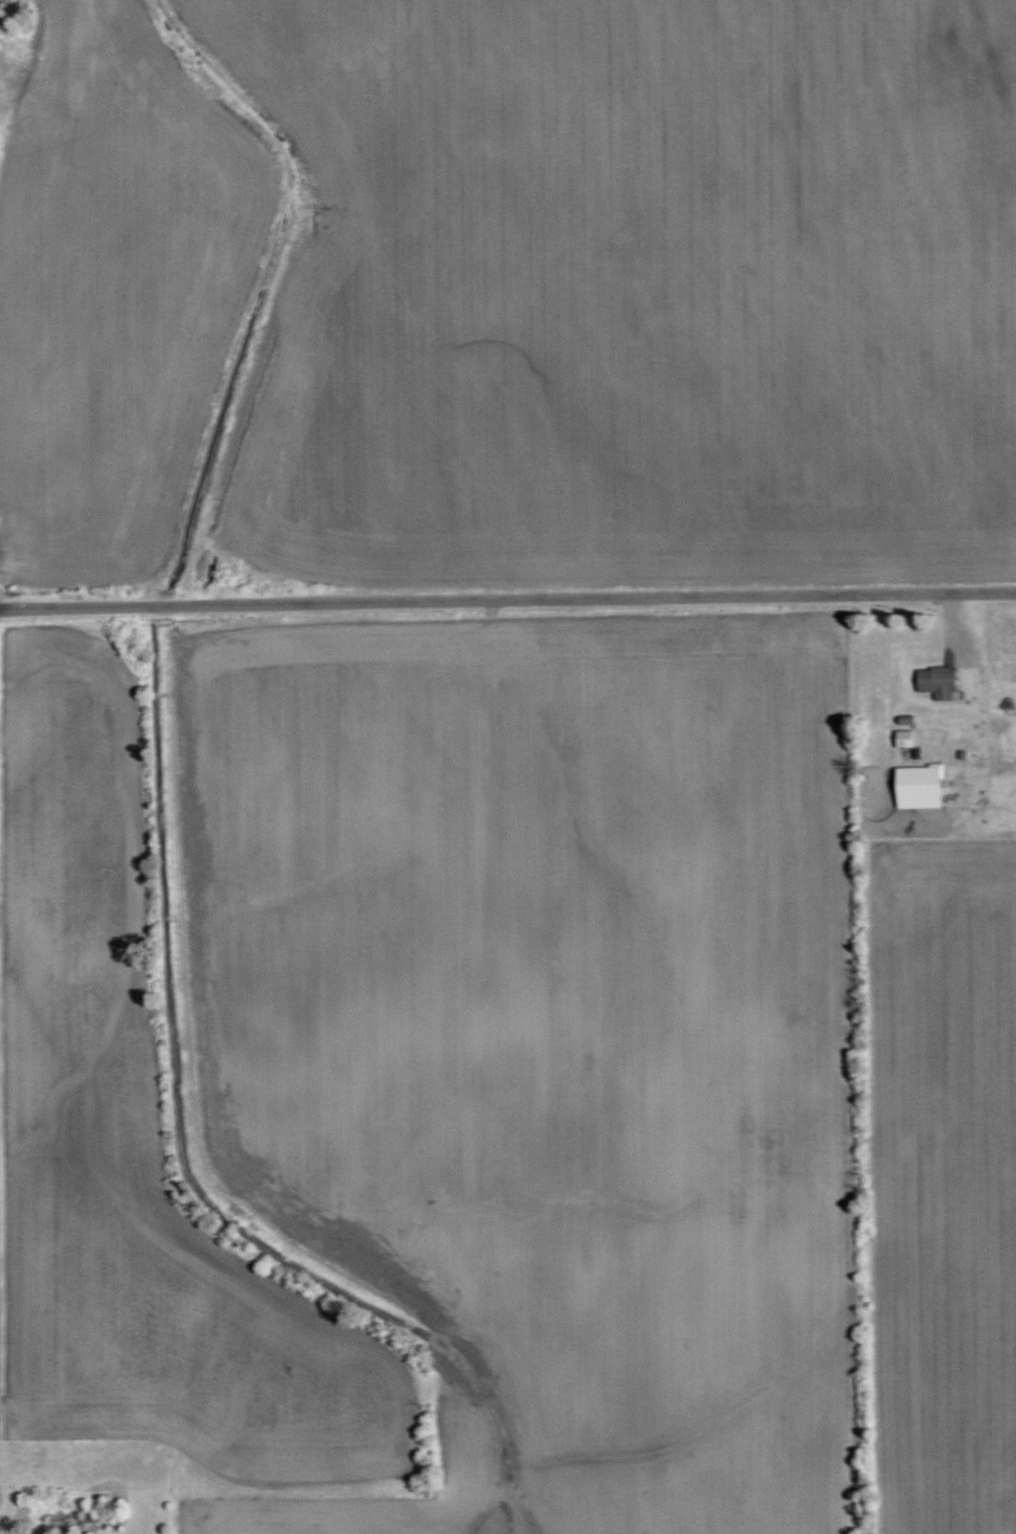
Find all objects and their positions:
building: (11, 10)
road: (508, 598)
building: (937, 682)

